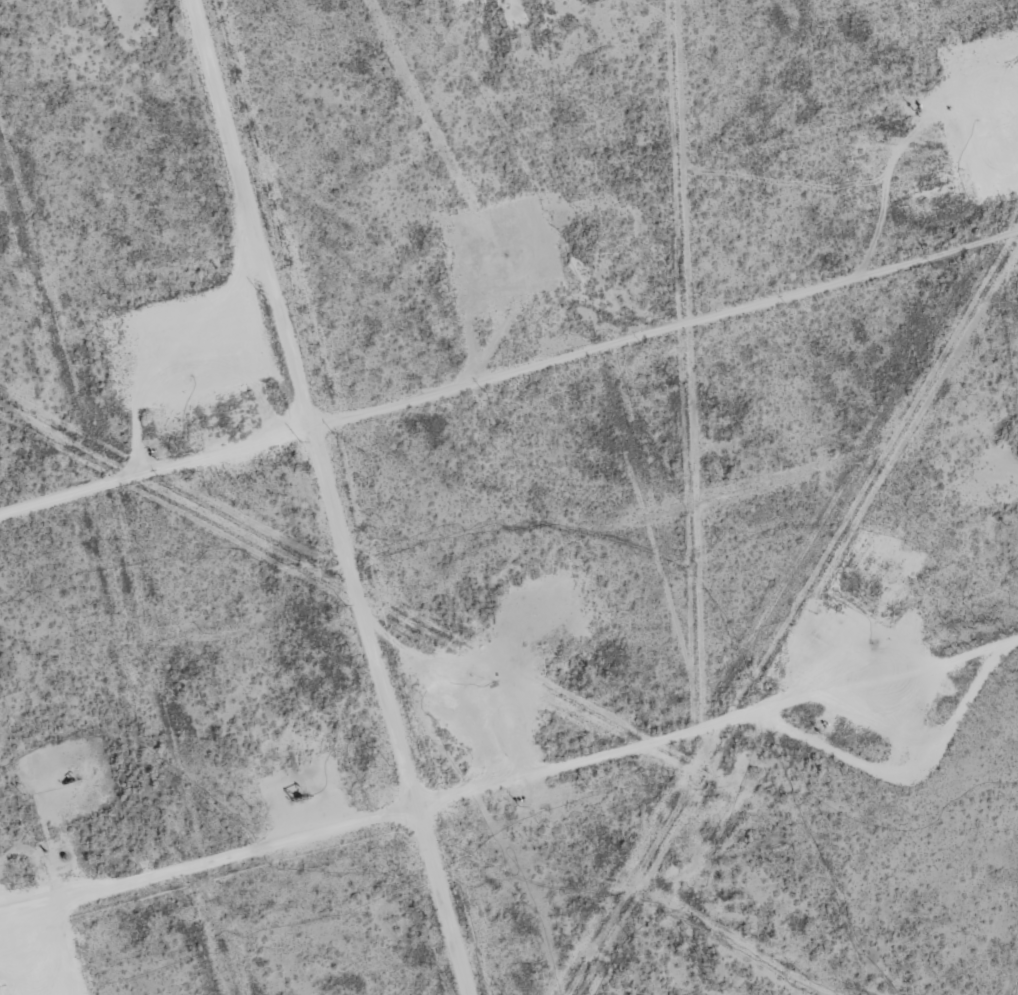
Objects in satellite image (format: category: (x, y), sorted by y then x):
road: (637, 347)
road: (268, 499)
road: (510, 797)

